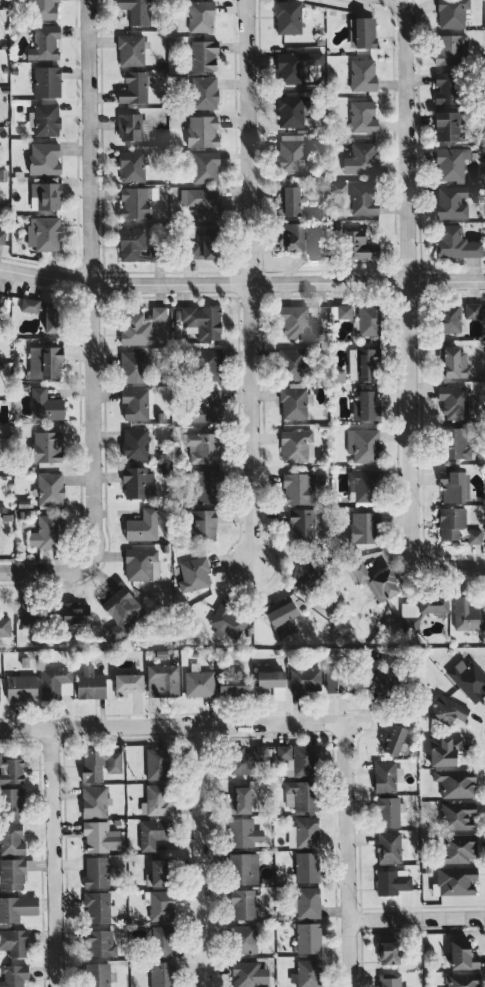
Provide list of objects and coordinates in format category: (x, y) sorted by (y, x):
building: (44, 9)
building: (136, 11)
building: (452, 13)
building: (200, 16)
building: (288, 17)
building: (362, 32)
building: (44, 42)
building: (131, 49)
building: (449, 49)
building: (204, 55)
building: (296, 66)
building: (363, 75)
building: (47, 81)
building: (135, 87)
building: (446, 87)
building: (203, 92)
building: (292, 111)
building: (362, 116)
building: (45, 119)
building: (131, 126)
building: (447, 126)
building: (202, 131)
building: (292, 153)
building: (44, 158)
building: (361, 158)
building: (452, 163)
building: (131, 166)
building: (205, 167)
building: (46, 194)
building: (362, 200)
building: (290, 201)
building: (454, 201)
building: (135, 202)
building: (202, 202)
building: (44, 233)
building: (2, 236)
building: (293, 236)
building: (456, 243)
building: (211, 244)
building: (132, 245)
building: (359, 245)
building: (316, 249)
building: (194, 251)
road: (242, 282)
road: (247, 282)
building: (0, 298)
building: (29, 305)
building: (472, 310)
building: (344, 311)
road: (408, 312)
building: (52, 317)
road: (88, 318)
building: (450, 318)
building: (367, 320)
building: (203, 321)
building: (296, 322)
building: (143, 326)
building: (45, 362)
building: (293, 363)
building: (454, 363)
building: (210, 364)
building: (363, 364)
building: (133, 366)
building: (294, 402)
building: (454, 402)
building: (136, 403)
building: (45, 405)
building: (205, 405)
building: (366, 407)
building: (456, 443)
building: (135, 444)
building: (294, 445)
building: (363, 445)
building: (47, 446)
building: (203, 447)
building: (137, 481)
building: (454, 485)
building: (206, 486)
building: (364, 487)
building: (298, 488)
building: (50, 489)
building: (203, 524)
building: (300, 524)
building: (142, 526)
building: (456, 526)
building: (363, 527)
building: (47, 532)
building: (141, 564)
road: (8, 571)
building: (194, 574)
building: (307, 575)
building: (376, 581)
building: (427, 605)
building: (120, 611)
building: (32, 614)
building: (75, 614)
building: (467, 615)
building: (281, 616)
building: (229, 619)
building: (5, 626)
building: (468, 679)
building: (163, 680)
building: (305, 680)
building: (334, 680)
building: (55, 682)
building: (199, 682)
building: (272, 682)
building: (382, 682)
building: (90, 684)
building: (127, 684)
building: (233, 685)
building: (21, 688)
building: (447, 710)
road: (183, 725)
building: (394, 739)
building: (445, 750)
building: (0, 756)
building: (247, 759)
building: (298, 759)
building: (156, 763)
building: (100, 764)
building: (11, 772)
building: (386, 776)
building: (455, 782)
building: (301, 795)
building: (241, 799)
building: (156, 800)
building: (94, 801)
building: (12, 803)
building: (388, 811)
building: (457, 815)
building: (244, 832)
building: (304, 832)
building: (152, 833)
building: (99, 836)
building: (11, 839)
building: (388, 846)
building: (459, 847)
road: (346, 853)
road: (200, 856)
road: (52, 857)
building: (307, 867)
building: (244, 868)
building: (96, 872)
building: (156, 873)
building: (12, 874)
building: (392, 881)
building: (455, 881)
building: (307, 902)
building: (242, 904)
building: (161, 905)
building: (17, 908)
building: (99, 908)
road: (416, 919)
building: (308, 938)
building: (245, 939)
building: (162, 941)
building: (14, 942)
building: (99, 943)
building: (388, 952)
building: (462, 955)
building: (307, 973)
building: (98, 974)
building: (162, 974)
building: (248, 974)
building: (14, 975)
building: (390, 980)
building: (462, 980)

